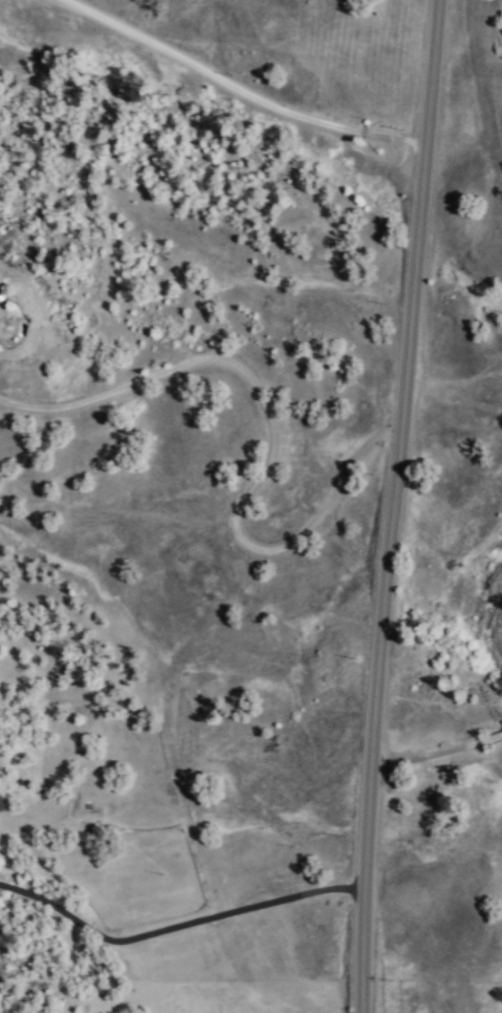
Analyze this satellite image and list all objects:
road: (239, 88)
building: (4, 308)
road: (274, 435)
road: (393, 506)
road: (436, 751)
road: (60, 915)
road: (242, 915)

